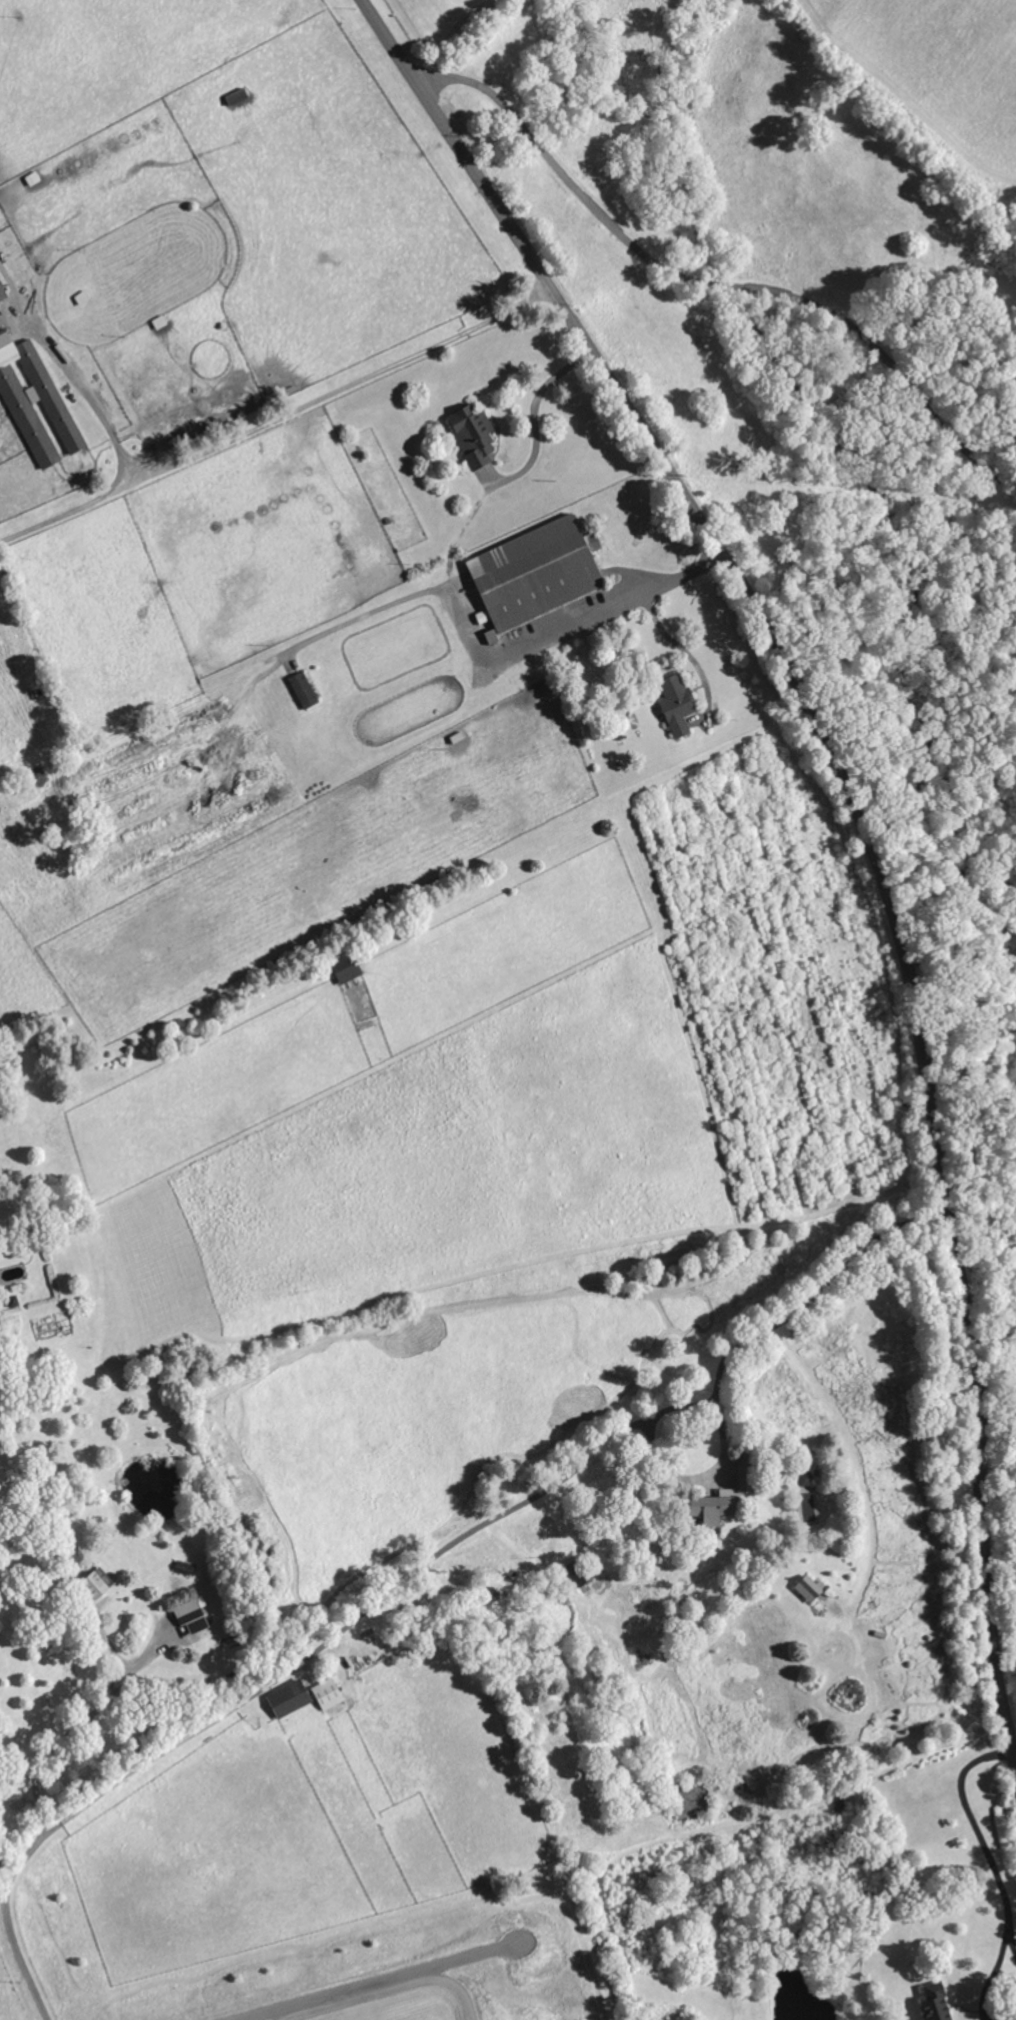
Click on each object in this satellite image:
road: (710, 284)
building: (1, 293)
building: (30, 397)
road: (90, 400)
road: (277, 421)
road: (528, 428)
building: (467, 434)
building: (528, 573)
road: (684, 650)
road: (490, 660)
building: (298, 689)
building: (671, 703)
road: (864, 824)
building: (343, 971)
building: (737, 1477)
building: (800, 1477)
building: (703, 1506)
road: (472, 1527)
building: (89, 1581)
building: (802, 1586)
building: (185, 1615)
building: (322, 1692)
building: (283, 1697)
road: (976, 1828)
road: (1012, 1943)
road: (15, 1950)
road: (990, 1976)
building: (928, 2002)

